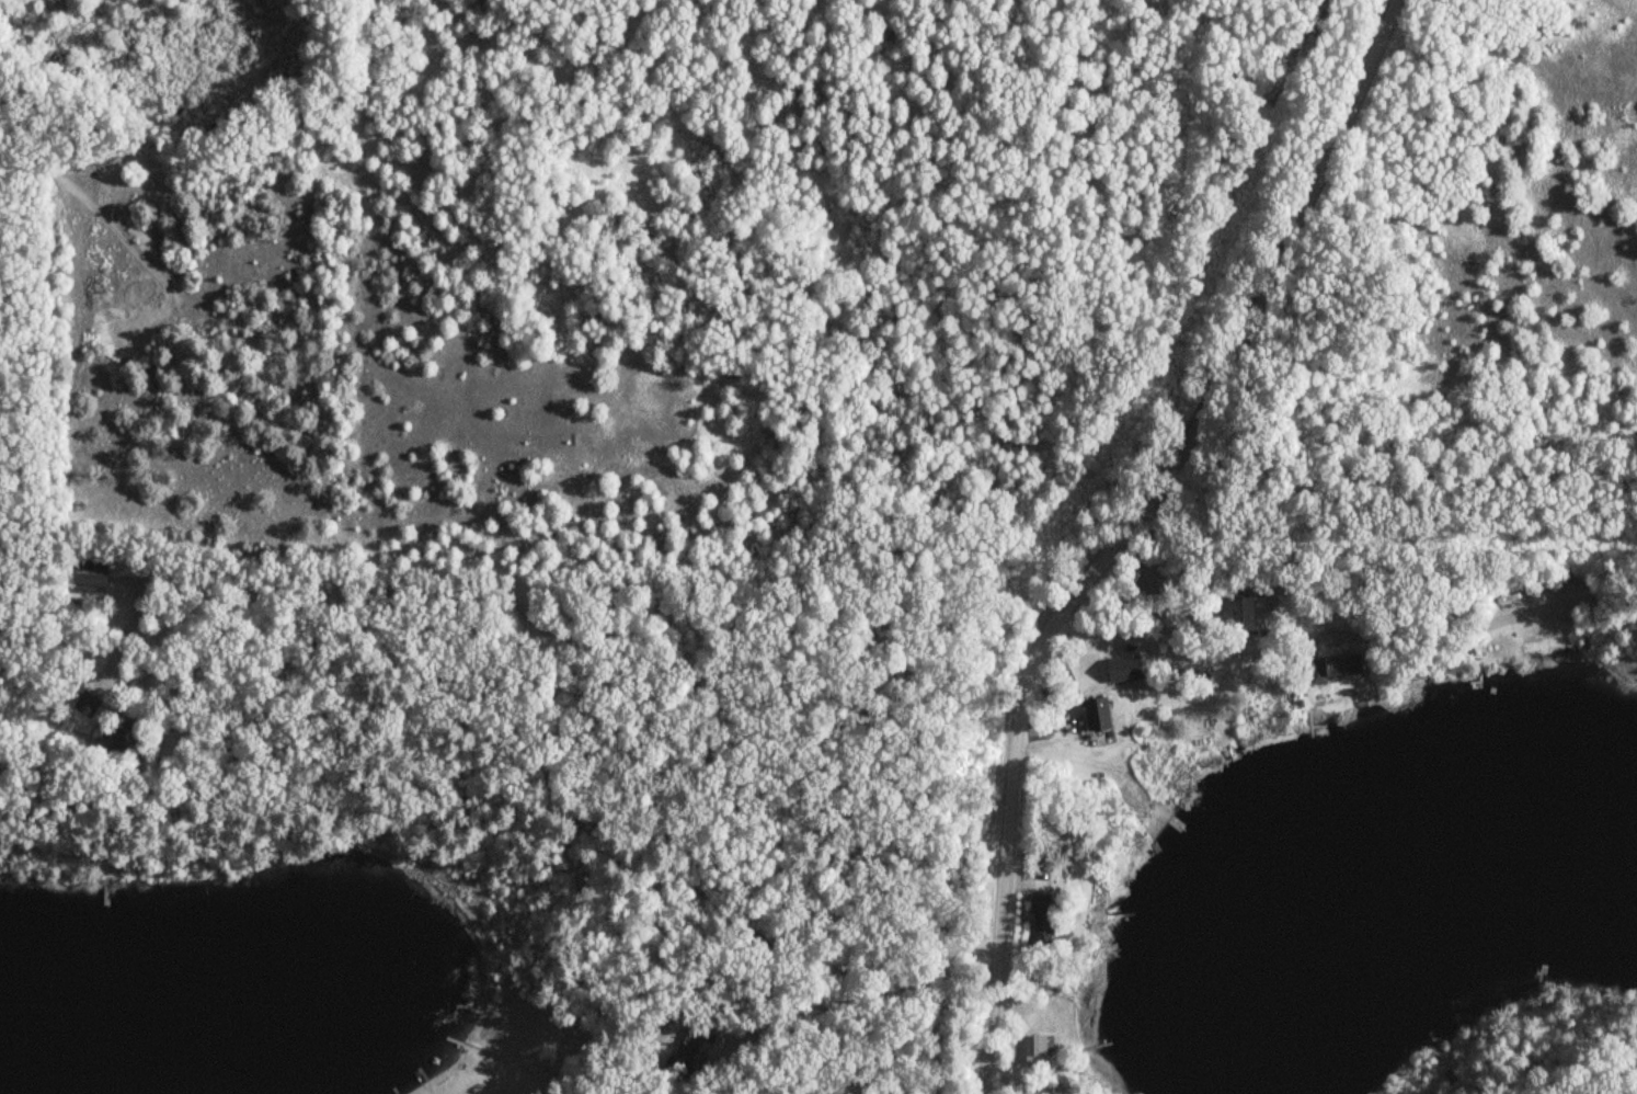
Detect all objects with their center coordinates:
road: (1125, 527)
road: (1386, 531)
building: (87, 582)
building: (1251, 615)
road: (1344, 641)
road: (644, 658)
building: (1333, 669)
building: (1122, 671)
building: (84, 704)
building: (1095, 716)
building: (122, 734)
building: (1041, 918)
road: (811, 972)
building: (1034, 1048)
building: (686, 1055)

